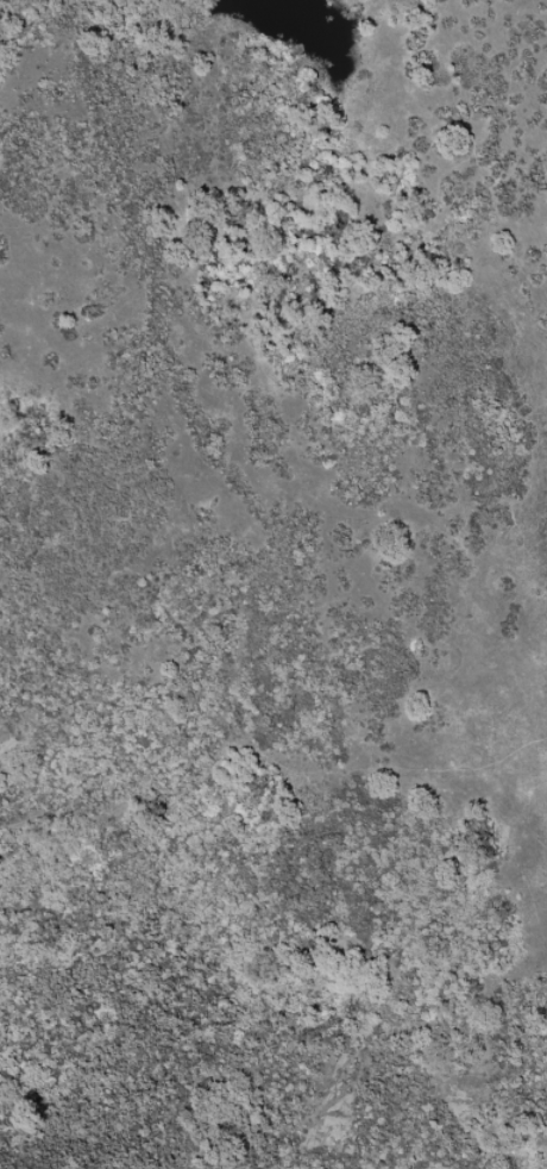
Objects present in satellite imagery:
park: (273, 584)
road: (268, 759)

